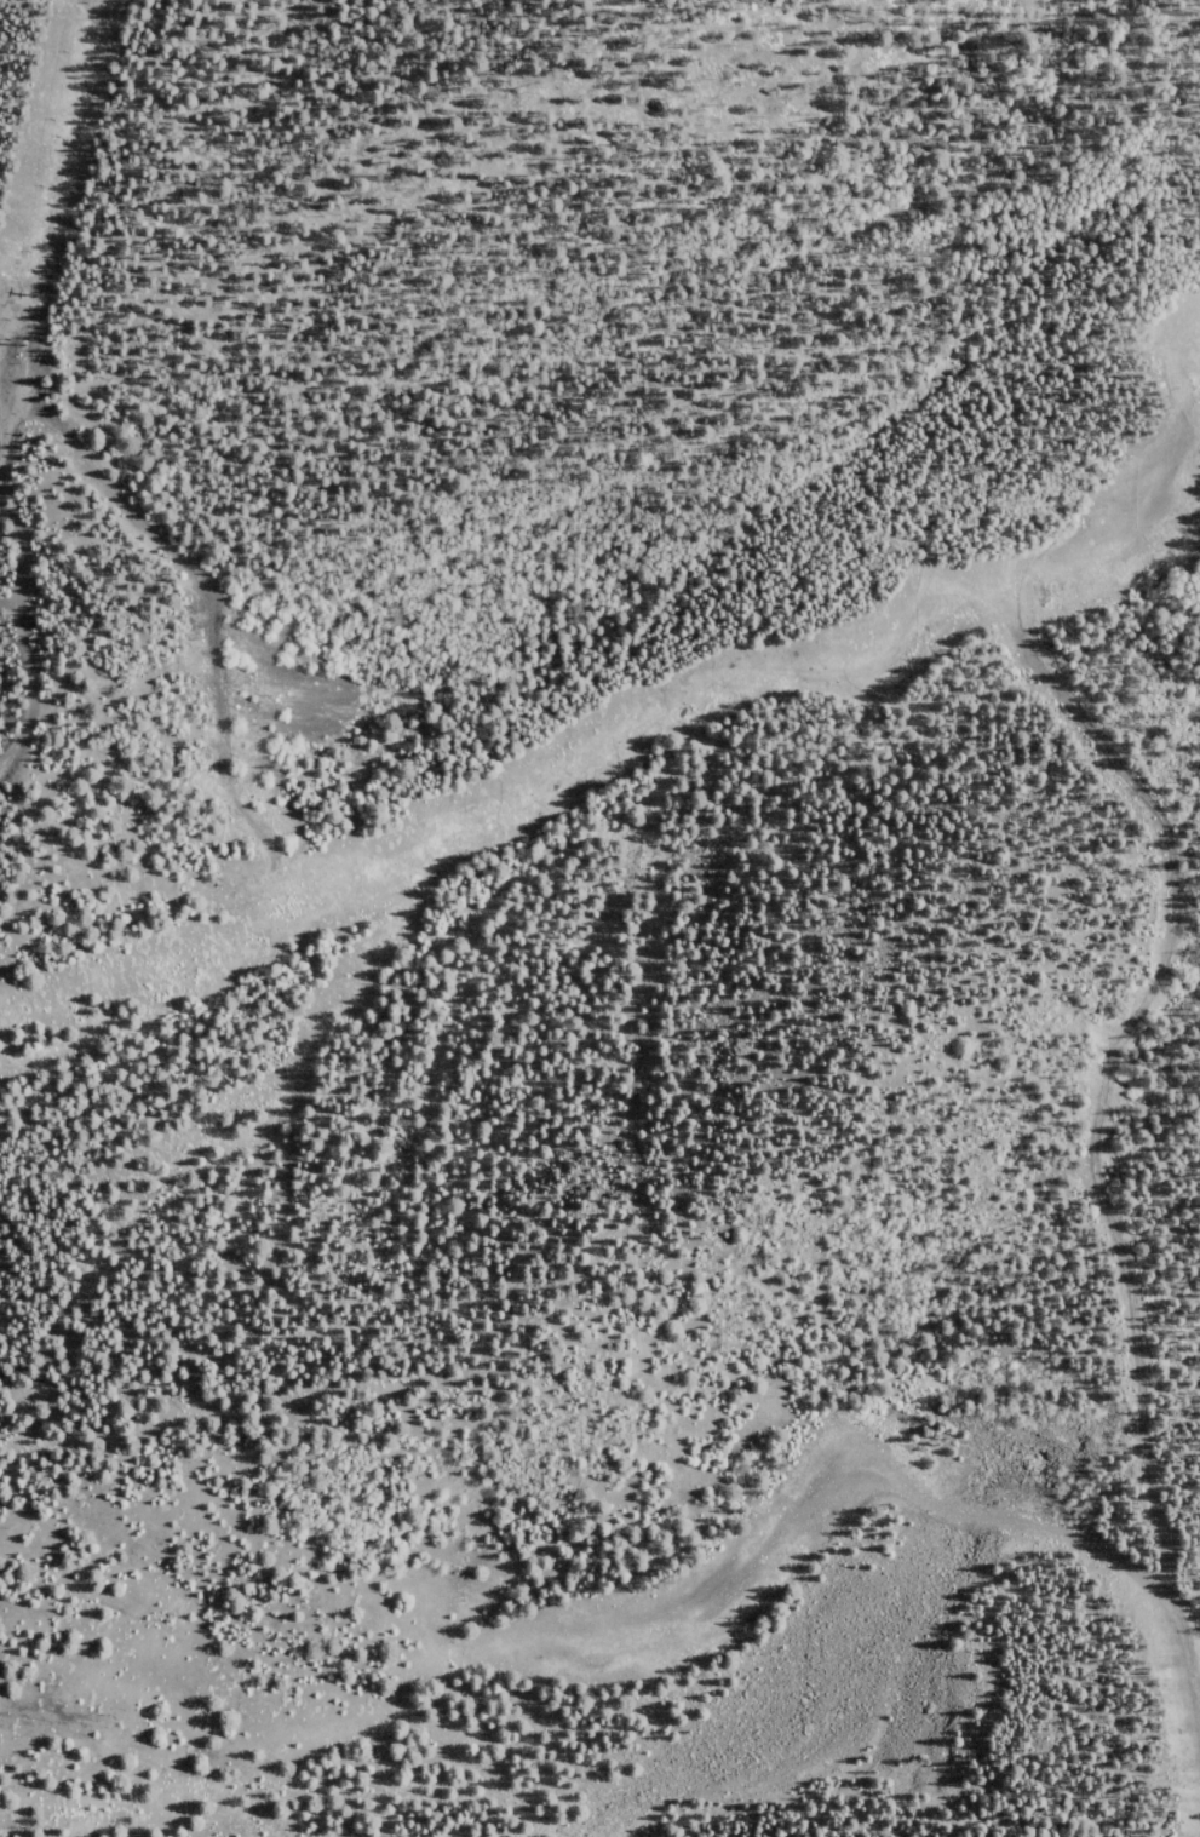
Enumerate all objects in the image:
aerialway pylon: (42, 298)
aerialway pylon: (30, 345)
road: (97, 481)
ski resort: (599, 918)

